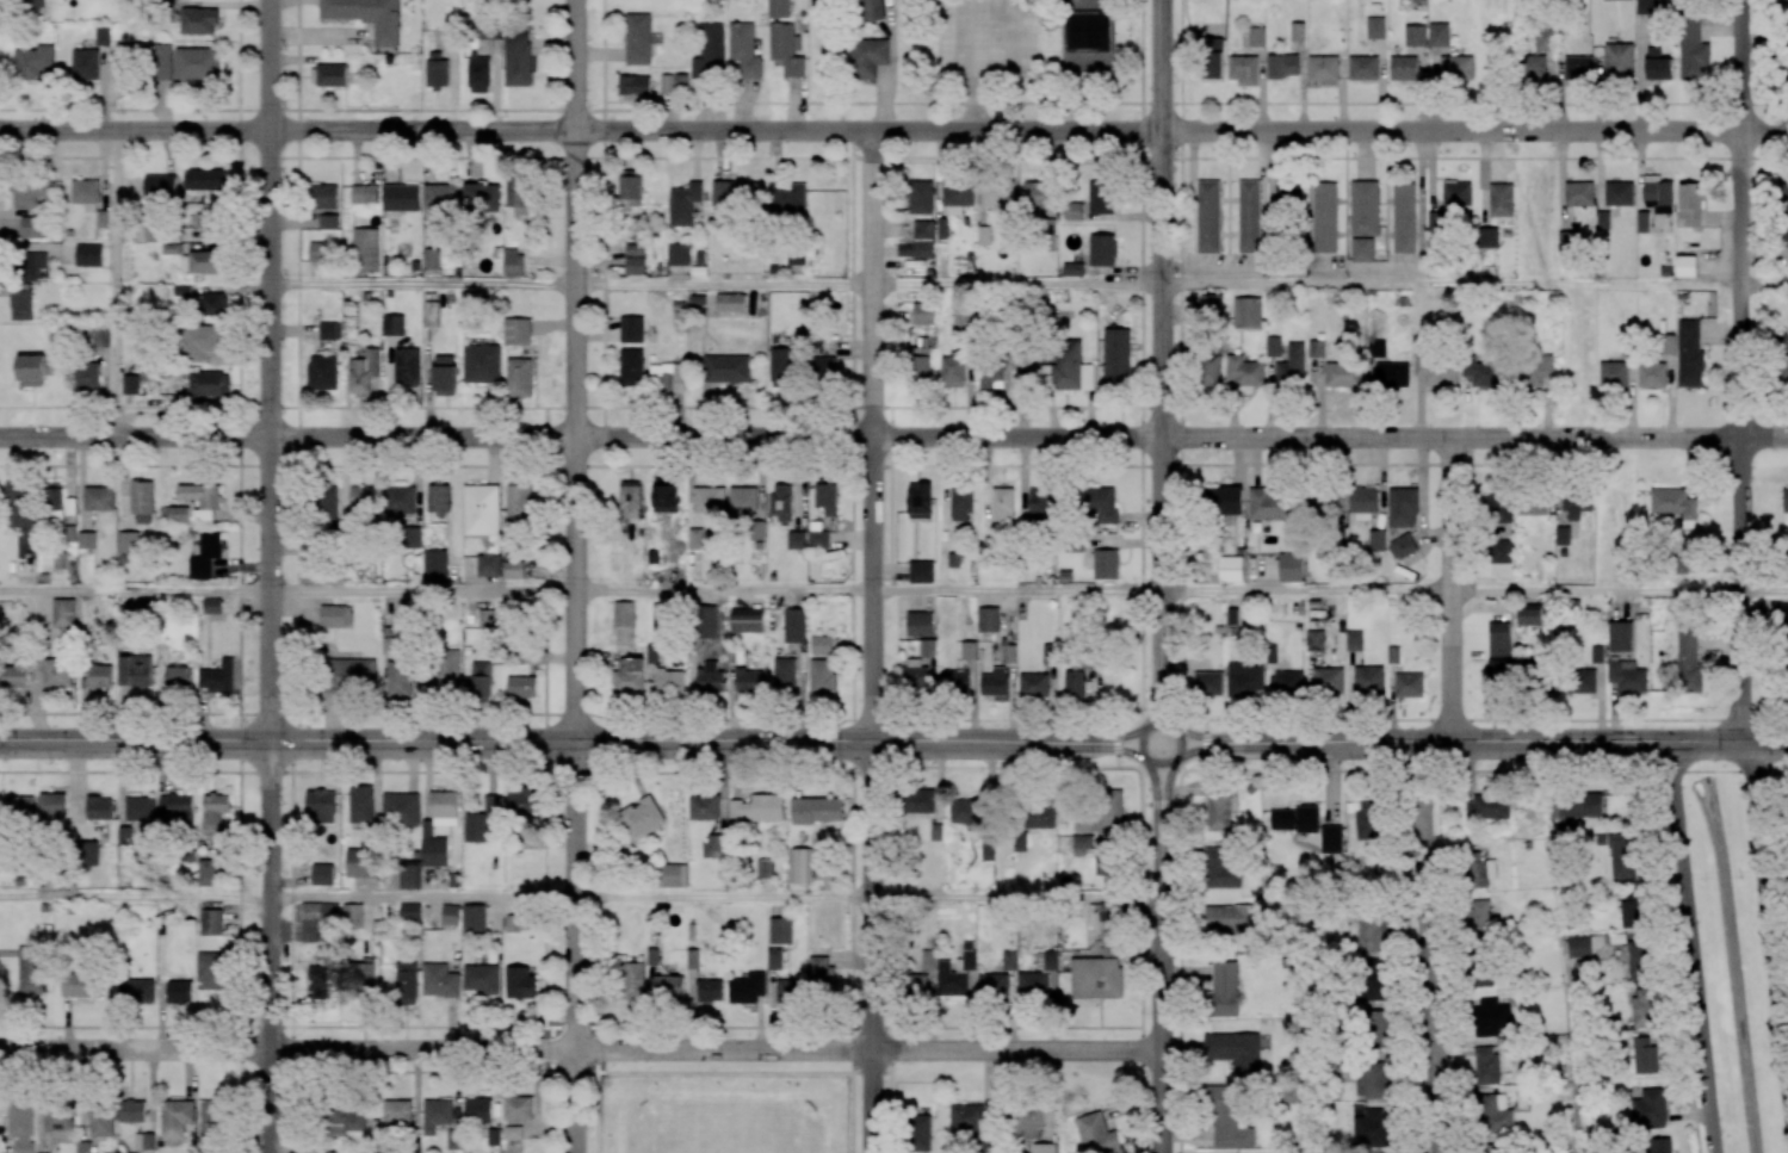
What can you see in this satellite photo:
building: (32, 4)
building: (1084, 4)
building: (1646, 6)
building: (779, 8)
building: (871, 10)
building: (366, 17)
building: (198, 20)
building: (1375, 27)
building: (1298, 31)
building: (1439, 33)
building: (103, 36)
building: (1415, 36)
building: (1256, 37)
building: (637, 38)
building: (1545, 38)
building: (1089, 43)
building: (785, 49)
building: (1691, 49)
building: (707, 50)
building: (744, 50)
building: (1783, 54)
road: (602, 55)
building: (516, 57)
building: (867, 57)
building: (1211, 57)
building: (33, 61)
building: (161, 61)
building: (1619, 61)
building: (197, 63)
building: (86, 64)
building: (1657, 64)
building: (1282, 66)
building: (1362, 67)
building: (1456, 67)
building: (1533, 67)
building: (1403, 68)
building: (1578, 68)
building: (435, 69)
building: (1324, 69)
building: (1243, 70)
building: (478, 74)
building: (328, 75)
building: (674, 82)
building: (633, 85)
road: (604, 120)
road: (135, 131)
road: (717, 131)
road: (1475, 131)
building: (209, 180)
building: (160, 187)
building: (630, 188)
building: (30, 192)
building: (1456, 193)
building: (1579, 193)
building: (1617, 193)
building: (1658, 193)
building: (86, 194)
building: (364, 194)
building: (518, 194)
building: (737, 194)
building: (1289, 194)
building: (323, 196)
building: (1035, 196)
building: (481, 197)
building: (920, 197)
building: (957, 197)
building: (998, 197)
building: (1101, 197)
building: (401, 198)
building: (439, 199)
building: (787, 199)
building: (1501, 199)
building: (685, 203)
building: (1690, 204)
building: (1365, 207)
building: (1783, 211)
building: (1249, 216)
building: (1208, 217)
building: (1324, 217)
building: (1404, 217)
building: (206, 219)
building: (1602, 219)
building: (1436, 221)
building: (327, 222)
building: (1641, 222)
building: (32, 227)
building: (923, 228)
building: (1486, 237)
building: (1567, 242)
building: (366, 249)
building: (904, 249)
building: (923, 249)
building: (1102, 249)
building: (1362, 249)
building: (88, 254)
building: (316, 254)
building: (679, 254)
building: (817, 256)
building: (432, 258)
building: (635, 259)
building: (204, 261)
building: (512, 261)
building: (31, 264)
building: (1685, 266)
building: (1072, 268)
road: (422, 283)
road: (723, 284)
road: (115, 285)
road: (1016, 285)
road: (1450, 285)
road: (1764, 285)
building: (212, 303)
building: (730, 303)
building: (1211, 303)
building: (20, 304)
building: (1248, 312)
building: (431, 314)
building: (923, 314)
building: (392, 324)
building: (631, 329)
building: (329, 330)
building: (516, 331)
building: (99, 336)
building: (199, 342)
building: (1666, 345)
building: (1274, 346)
building: (1316, 348)
building: (1689, 354)
building: (1116, 355)
road: (1163, 358)
building: (1783, 358)
building: (481, 364)
building: (781, 364)
building: (918, 364)
building: (407, 366)
building: (1292, 366)
building: (631, 367)
building: (823, 367)
building: (33, 368)
building: (725, 368)
building: (1068, 368)
building: (952, 370)
building: (1209, 370)
building: (1436, 370)
building: (1535, 370)
road: (267, 371)
building: (364, 371)
road: (576, 371)
building: (1244, 371)
building: (322, 372)
road: (1738, 372)
building: (1344, 373)
building: (1483, 373)
building: (1613, 373)
building: (444, 374)
building: (1392, 374)
building: (1651, 374)
building: (86, 376)
building: (519, 377)
building: (667, 377)
building: (991, 377)
building: (130, 384)
building: (209, 384)
road: (871, 436)
road: (132, 439)
road: (1027, 439)
building: (664, 495)
building: (361, 496)
building: (825, 497)
building: (98, 498)
building: (202, 498)
building: (438, 498)
building: (709, 498)
building: (742, 498)
building: (630, 500)
building: (920, 500)
building: (142, 501)
building: (780, 501)
building: (1224, 501)
building: (1322, 501)
building: (1784, 501)
building: (54, 502)
building: (397, 502)
building: (519, 502)
building: (19, 503)
building: (961, 503)
building: (1099, 503)
building: (1270, 503)
building: (1362, 503)
building: (327, 504)
building: (1002, 504)
building: (1040, 504)
building: (1532, 504)
building: (1576, 504)
building: (1675, 504)
building: (1501, 506)
building: (1402, 507)
building: (481, 509)
building: (178, 514)
building: (1561, 535)
building: (413, 537)
building: (796, 539)
building: (817, 539)
building: (1376, 539)
building: (86, 540)
building: (128, 541)
building: (1402, 546)
building: (1501, 551)
building: (205, 556)
building: (434, 563)
building: (1105, 564)
building: (1786, 564)
building: (488, 565)
building: (1291, 566)
building: (513, 569)
building: (1230, 569)
building: (921, 571)
road: (723, 590)
road: (1016, 590)
road: (1305, 590)
road: (1448, 590)
road: (1594, 590)
road: (1764, 590)
road: (421, 591)
road: (134, 593)
building: (211, 606)
building: (63, 613)
building: (623, 613)
building: (1529, 615)
building: (335, 616)
building: (485, 618)
building: (989, 619)
building: (747, 620)
building: (658, 621)
building: (706, 621)
building: (1236, 621)
building: (920, 624)
building: (794, 625)
building: (1783, 626)
building: (1620, 637)
building: (1314, 639)
building: (1354, 640)
building: (1498, 644)
building: (821, 645)
building: (928, 647)
building: (969, 650)
building: (1008, 653)
road: (1178, 659)
building: (1688, 663)
building: (135, 670)
building: (444, 670)
building: (1498, 671)
building: (57, 672)
building: (14, 674)
building: (351, 674)
building: (784, 674)
building: (629, 675)
building: (822, 675)
building: (100, 676)
building: (1627, 676)
building: (179, 677)
building: (218, 677)
building: (915, 677)
building: (709, 678)
building: (749, 680)
building: (1328, 680)
building: (1368, 680)
building: (400, 681)
building: (481, 681)
building: (669, 681)
building: (954, 681)
building: (1244, 681)
building: (1580, 681)
building: (1288, 682)
building: (995, 683)
building: (1207, 683)
building: (1407, 684)
building: (1554, 684)
building: (1034, 686)
building: (1074, 686)
building: (521, 687)
road: (1159, 700)
road: (926, 715)
road: (134, 742)
traffic signals: (454, 743)
road: (703, 743)
road: (1467, 743)
road: (1767, 743)
road: (1138, 751)
building: (522, 800)
building: (918, 801)
building: (178, 805)
building: (1576, 805)
building: (320, 806)
building: (99, 807)
building: (361, 807)
building: (704, 807)
building: (1110, 807)
building: (1487, 807)
building: (19, 808)
building: (51, 808)
building: (140, 808)
building: (401, 808)
building: (757, 808)
building: (816, 810)
building: (966, 811)
building: (1218, 811)
building: (212, 812)
building: (1038, 817)
building: (641, 818)
building: (1293, 819)
building: (1365, 819)
building: (483, 823)
building: (1082, 825)
building: (427, 831)
building: (936, 831)
building: (1330, 838)
building: (1019, 842)
building: (1081, 844)
building: (714, 845)
building: (988, 848)
building: (1620, 855)
building: (1105, 858)
building: (361, 862)
building: (800, 866)
building: (765, 868)
building: (1219, 869)
building: (1479, 870)
building: (209, 873)
building: (322, 874)
building: (410, 875)
building: (675, 875)
road: (134, 897)
road: (722, 897)
road: (421, 898)
road: (1016, 898)
building: (1631, 910)
building: (409, 911)
building: (1107, 912)
building: (1478, 913)
building: (352, 915)
building: (450, 915)
road: (1767, 916)
building: (474, 917)
building: (1231, 918)
building: (210, 922)
building: (309, 922)
building: (512, 923)
building: (780, 930)
building: (1369, 934)
building: (1578, 946)
road: (268, 948)
road: (574, 948)
road: (871, 948)
road: (1430, 948)
road: (1691, 948)
building: (774, 959)
building: (928, 959)
building: (1638, 959)
road: (1163, 961)
building: (31, 969)
building: (210, 969)
building: (821, 972)
building: (955, 972)
building: (1099, 972)
building: (364, 973)
building: (482, 978)
building: (318, 979)
building: (440, 979)
building: (1483, 979)
building: (631, 980)
building: (1371, 980)
building: (407, 982)
building: (520, 982)
building: (917, 984)
building: (1033, 985)
building: (79, 986)
building: (994, 986)
building: (669, 987)
building: (747, 987)
building: (710, 990)
building: (1221, 990)
building: (138, 991)
building: (179, 991)
building: (790, 991)
building: (1644, 1008)
building: (1491, 1017)
building: (1374, 1028)
road: (581, 1049)
building: (1233, 1049)
building: (1644, 1055)
building: (1486, 1066)
building: (1371, 1079)
building: (518, 1108)
building: (1650, 1108)
building: (477, 1109)
building: (132, 1110)
building: (397, 1111)
building: (1495, 1111)
building: (435, 1114)
building: (175, 1118)
building: (344, 1118)
building: (966, 1118)
building: (211, 1120)
building: (1227, 1120)
building: (100, 1121)
building: (1026, 1122)
building: (20, 1123)
building: (58, 1123)
building: (1369, 1127)
building: (513, 1132)
building: (920, 1133)
building: (1095, 1134)
building: (144, 1141)
building: (1659, 1145)
building: (82, 1147)
building: (1043, 1147)
building: (1492, 1148)

